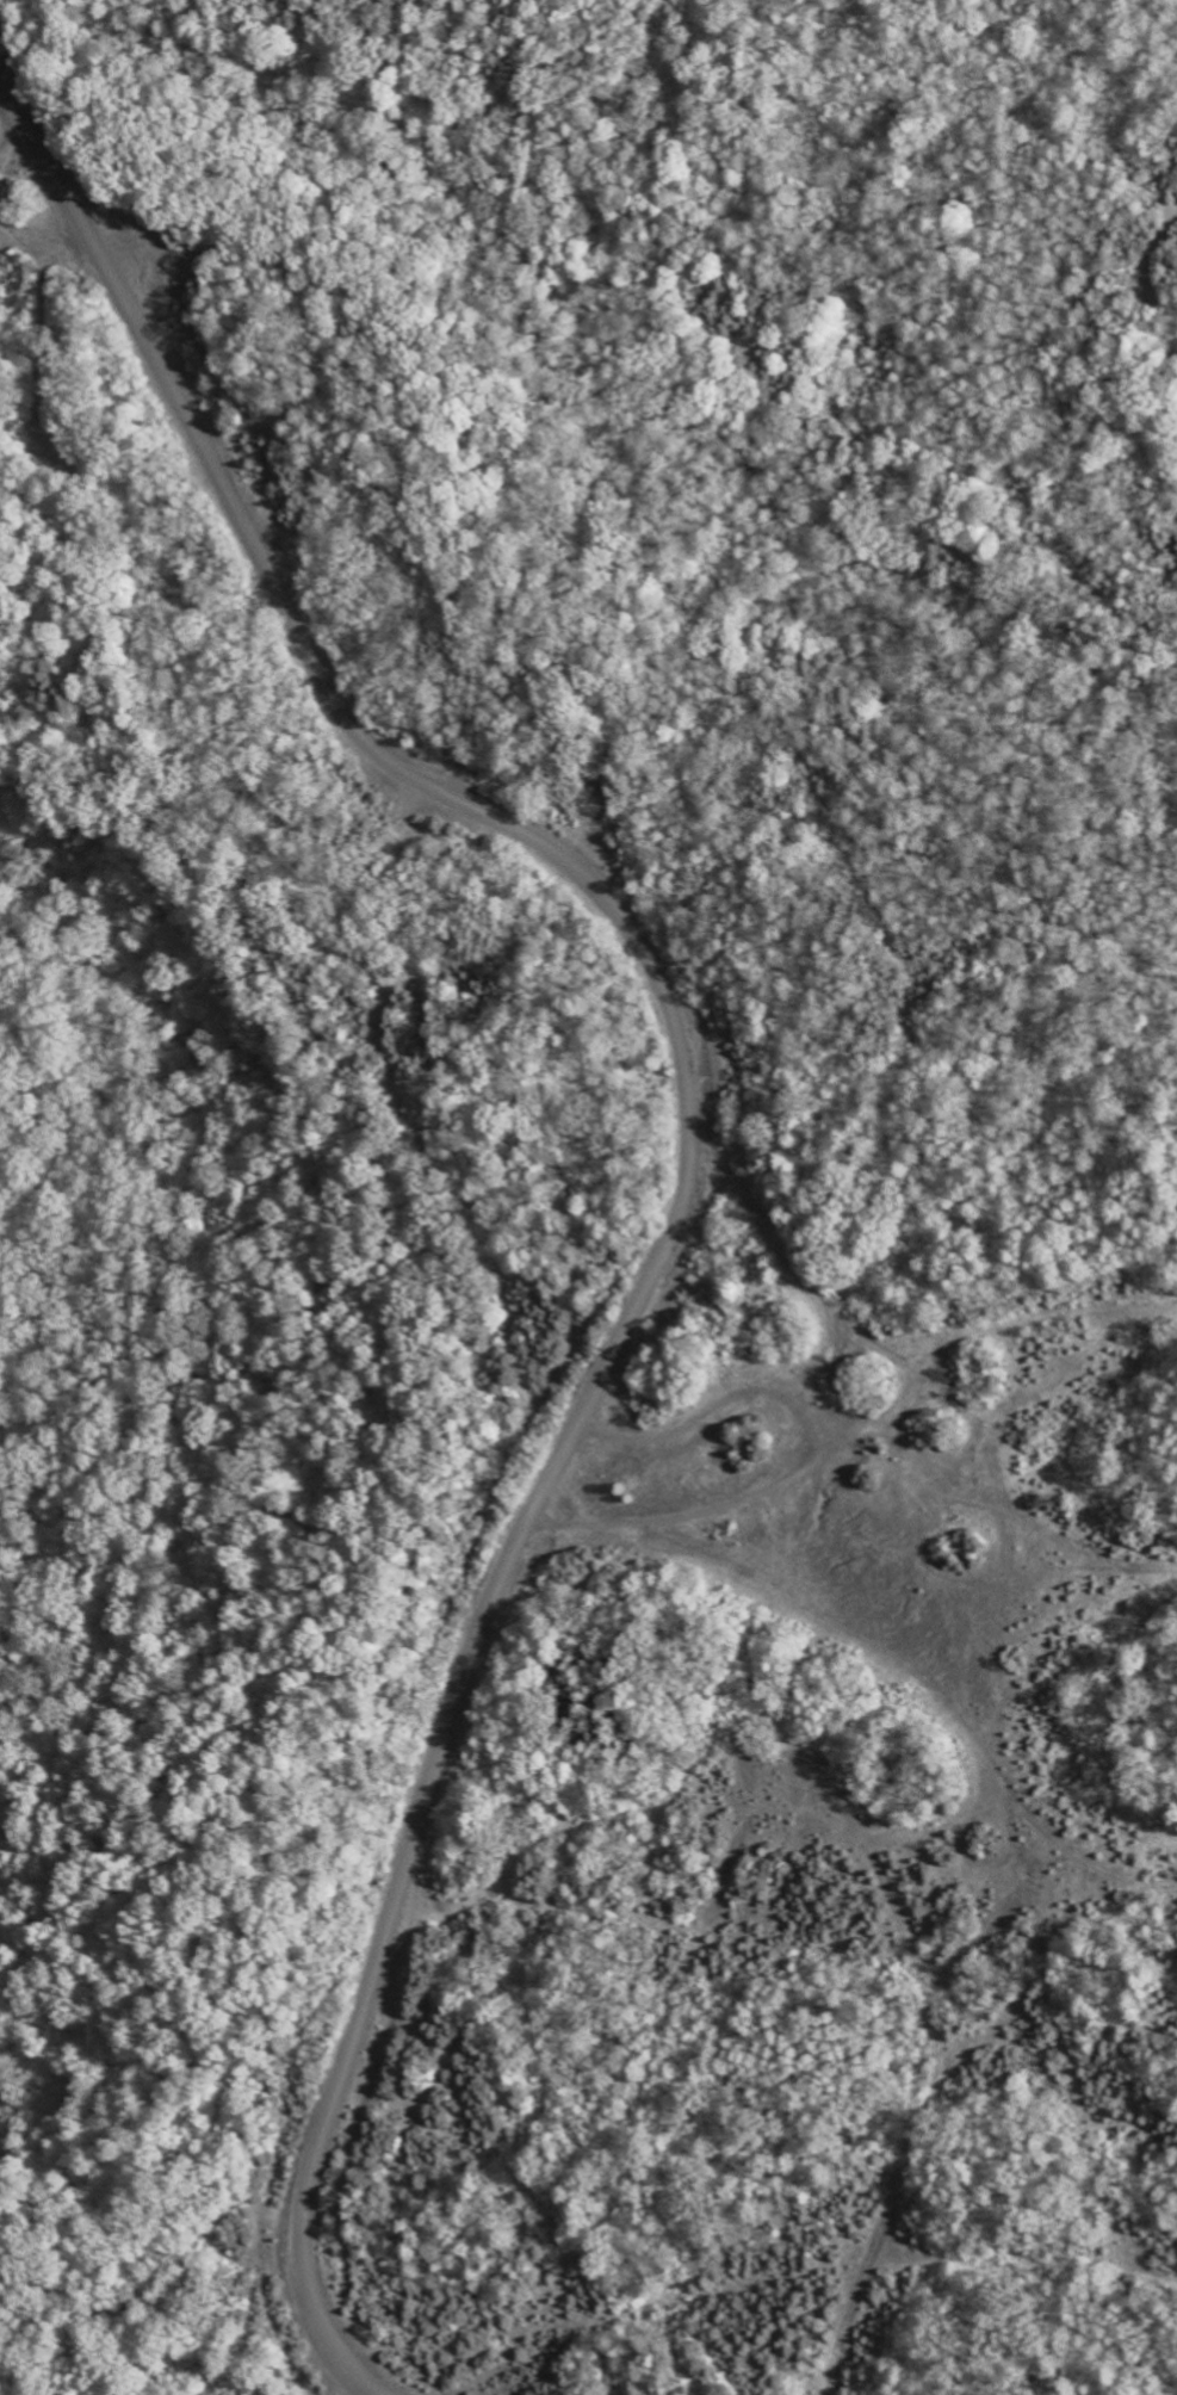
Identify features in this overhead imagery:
road: (693, 1150)

